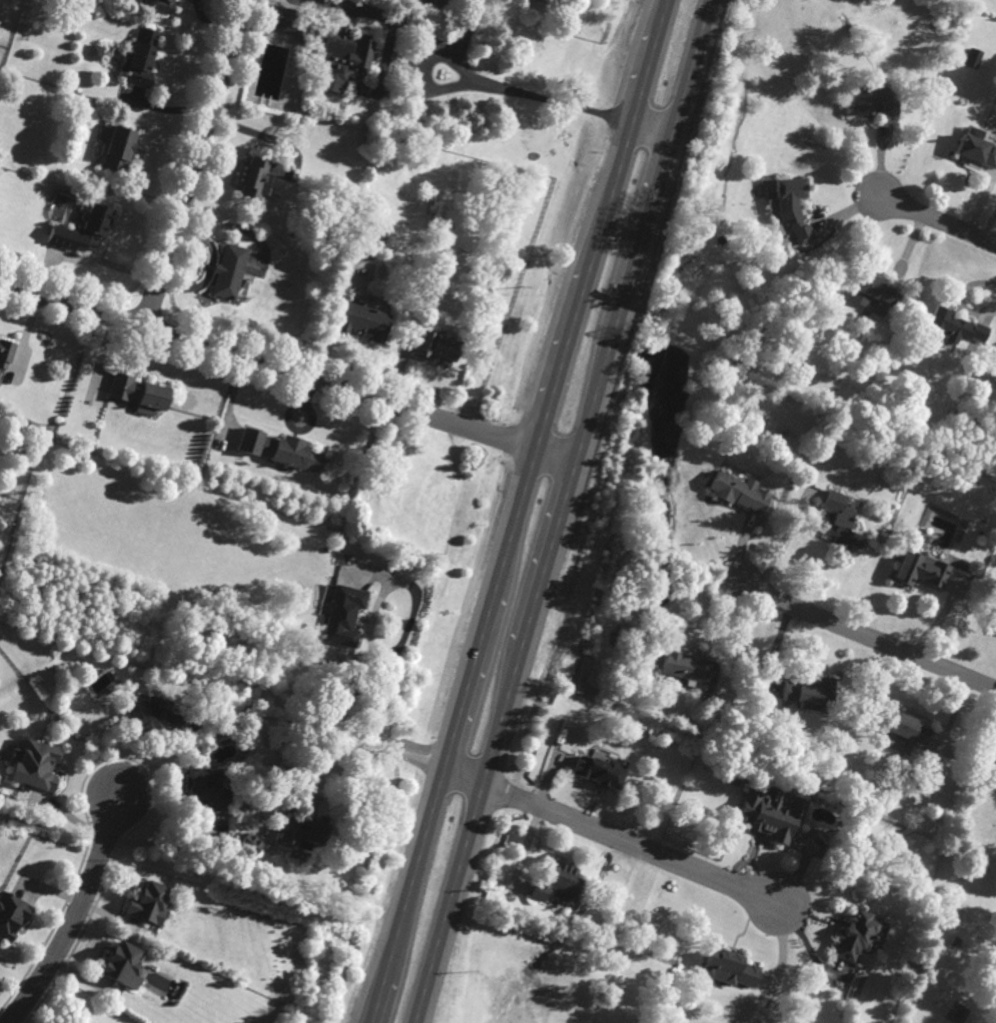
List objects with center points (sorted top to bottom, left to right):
building: (162, 6)
building: (284, 19)
road: (208, 25)
road: (464, 30)
building: (94, 52)
building: (139, 59)
building: (341, 59)
road: (470, 74)
building: (864, 99)
road: (650, 128)
road: (257, 132)
building: (115, 147)
building: (975, 147)
road: (193, 163)
building: (252, 180)
building: (792, 206)
road: (935, 220)
building: (82, 230)
road: (88, 259)
building: (227, 272)
building: (872, 290)
building: (363, 321)
building: (954, 327)
building: (436, 346)
building: (6, 352)
road: (287, 372)
building: (139, 393)
building: (295, 454)
building: (739, 492)
road: (519, 511)
road: (562, 511)
building: (839, 521)
building: (920, 569)
building: (343, 614)
building: (995, 631)
road: (867, 637)
road: (374, 646)
building: (690, 670)
building: (808, 692)
building: (153, 718)
building: (907, 730)
road: (336, 749)
building: (33, 765)
building: (599, 770)
building: (995, 778)
building: (205, 789)
building: (771, 813)
building: (303, 833)
road: (613, 836)
road: (106, 839)
building: (250, 845)
building: (557, 882)
building: (149, 903)
building: (11, 916)
building: (855, 936)
road: (62, 956)
building: (123, 965)
building: (729, 969)

